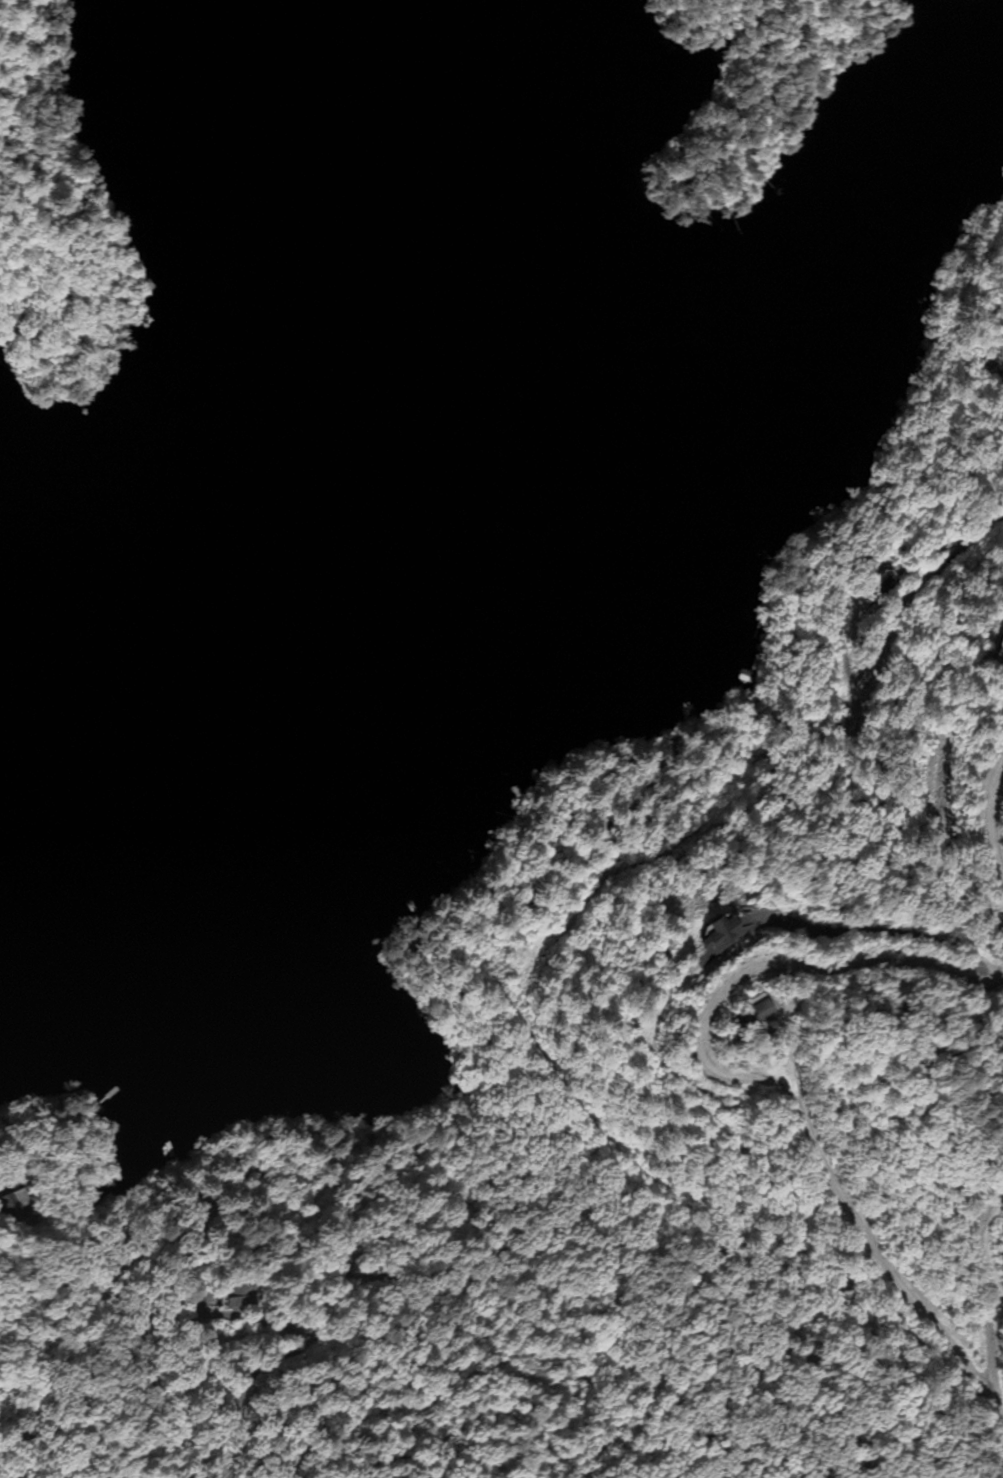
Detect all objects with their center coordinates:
road: (756, 56)
river: (403, 509)
building: (884, 584)
building: (1000, 649)
road: (982, 802)
building: (723, 933)
building: (765, 1014)
road: (745, 1069)
road: (562, 1137)
building: (13, 1203)
road: (978, 1274)
road: (284, 1345)

